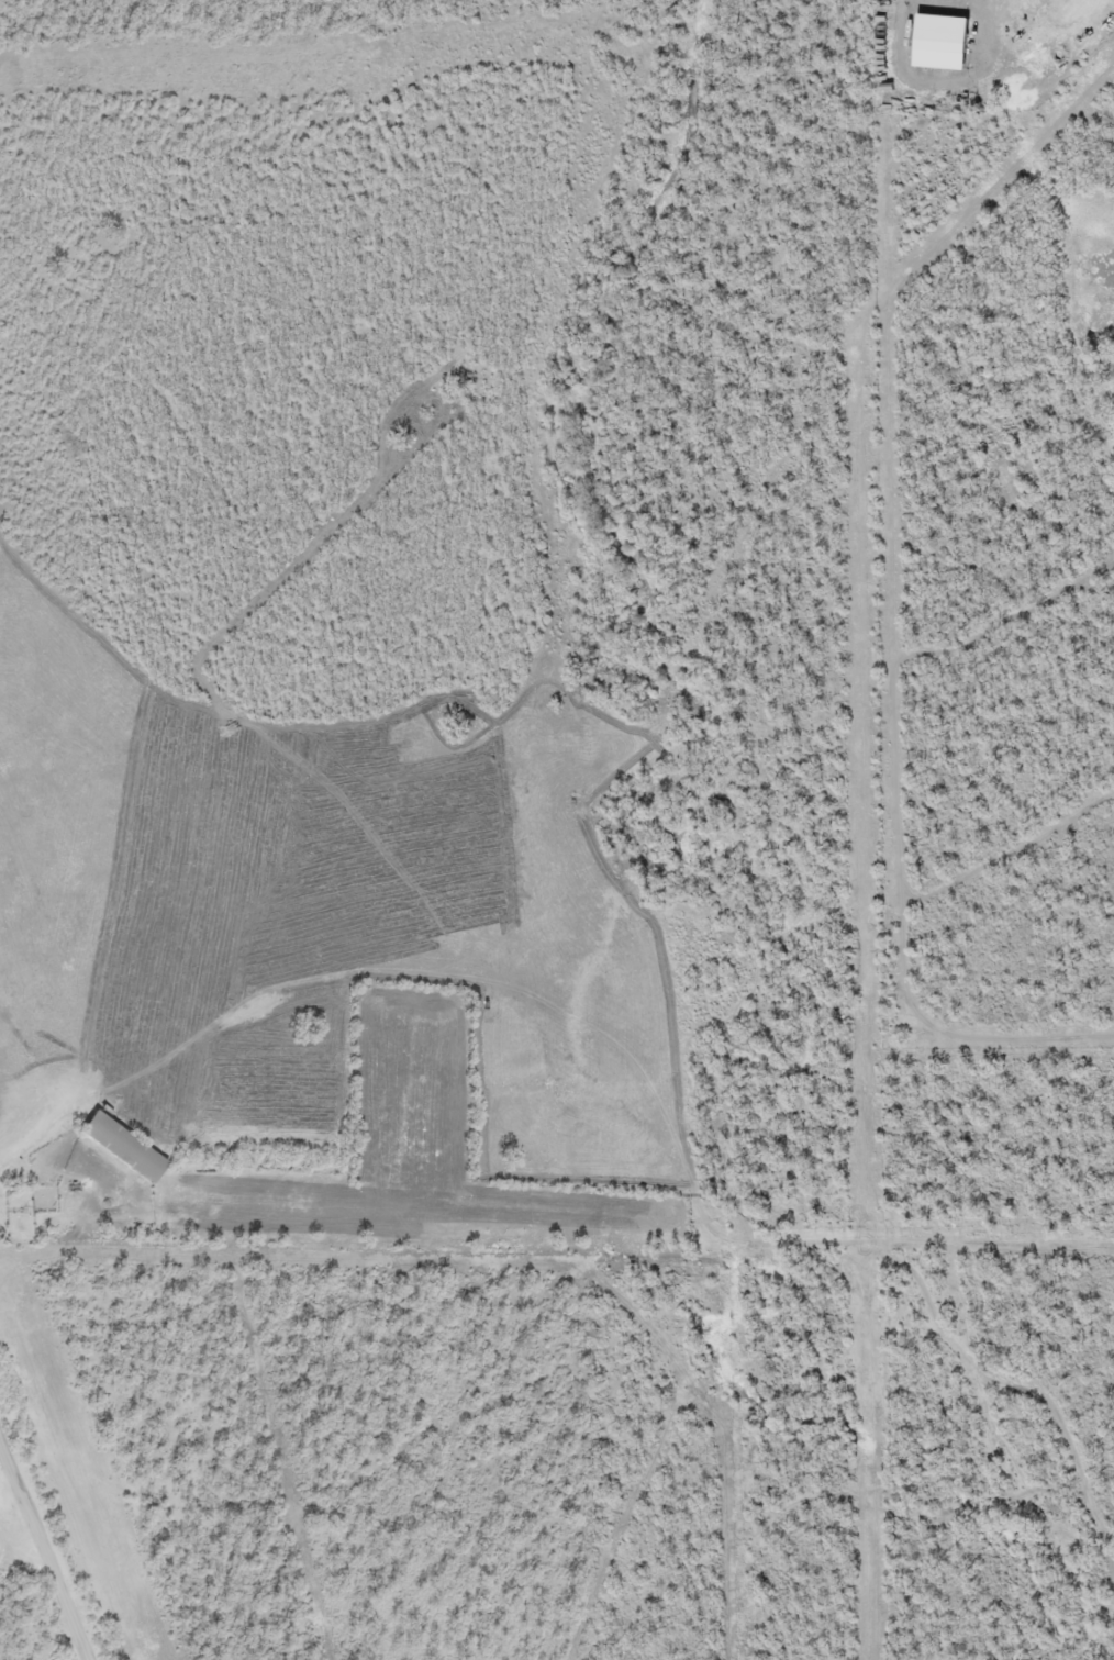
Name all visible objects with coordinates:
building: (938, 40)
building: (121, 1147)
road: (45, 1551)

